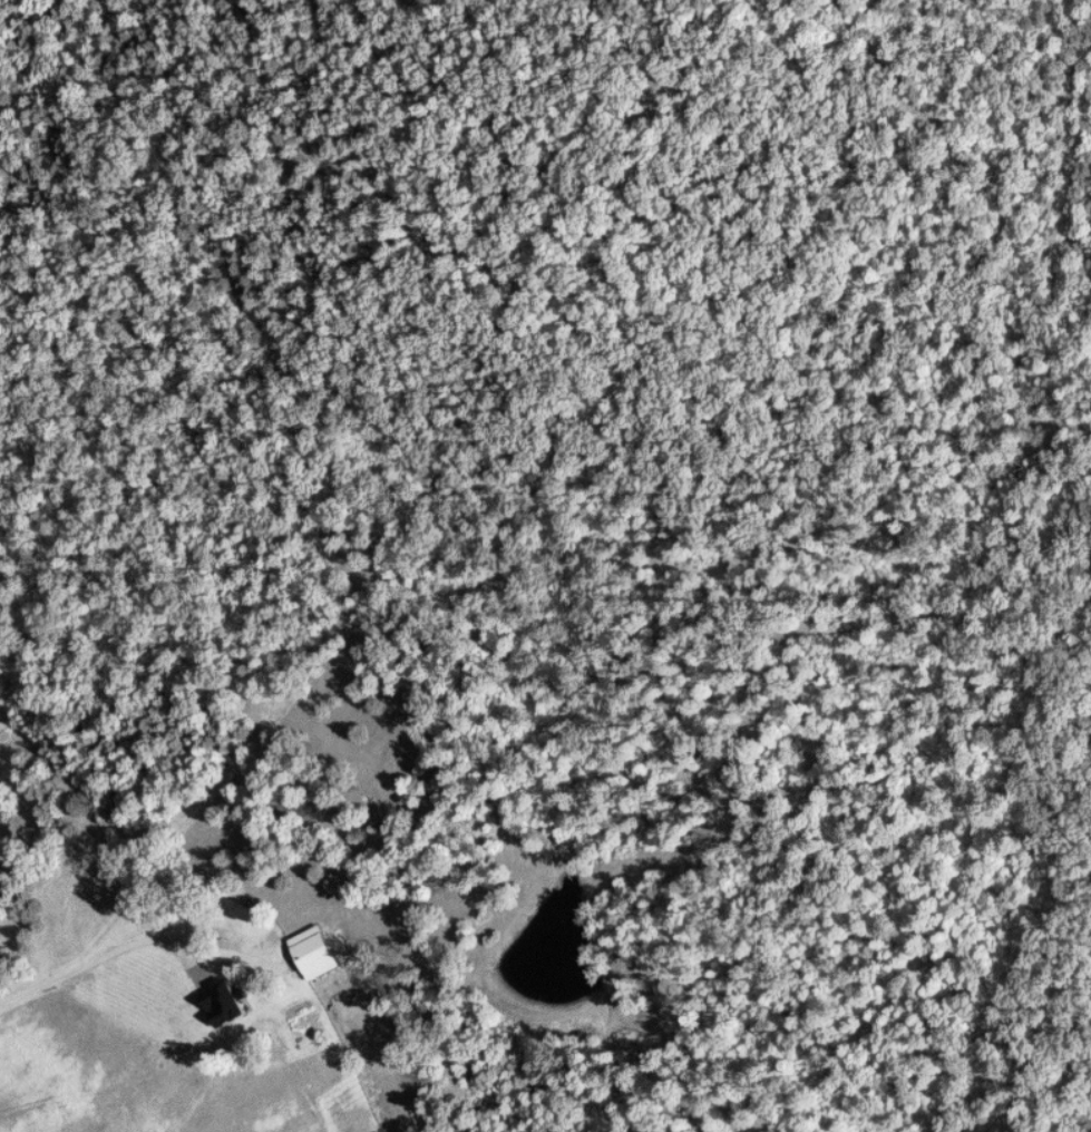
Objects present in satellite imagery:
building: (319, 952)
road: (99, 959)
building: (230, 1003)

